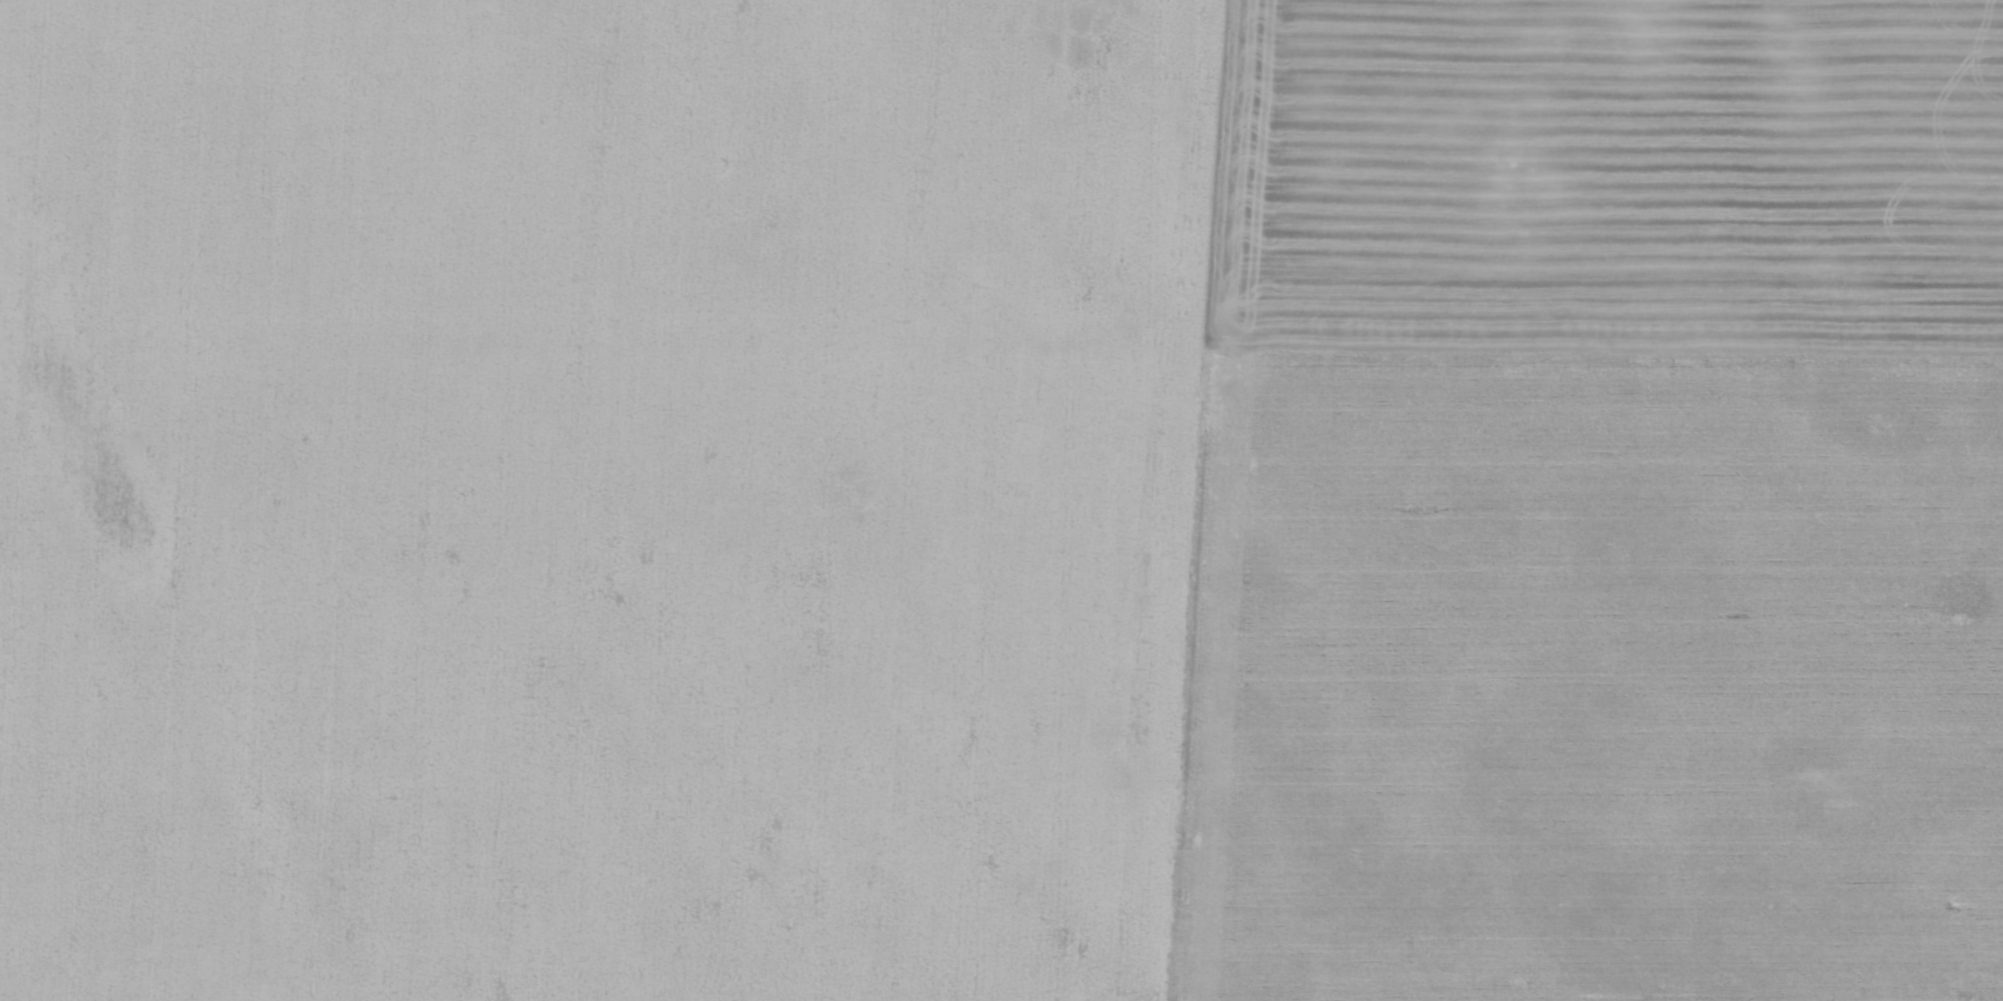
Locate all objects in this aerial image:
crop: (1001, 500)

